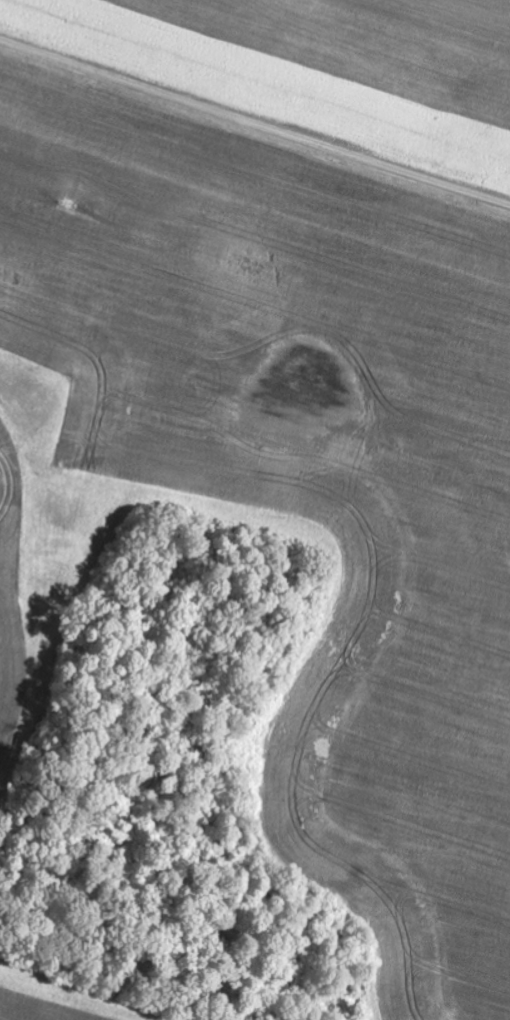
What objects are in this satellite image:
road: (254, 127)

